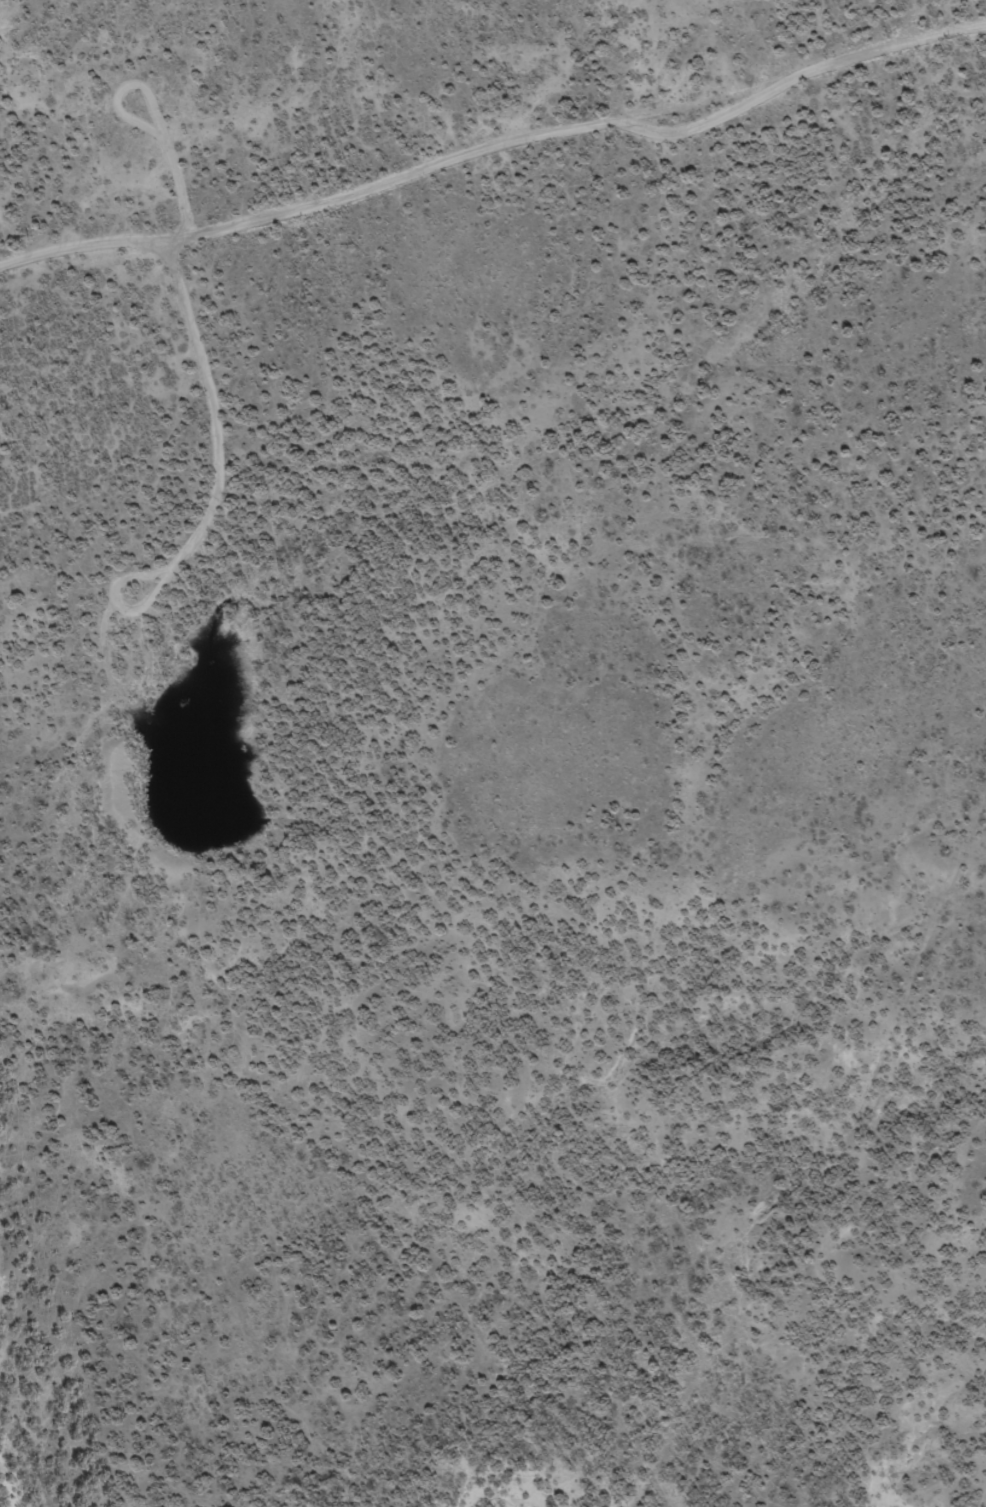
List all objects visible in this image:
road: (494, 167)

